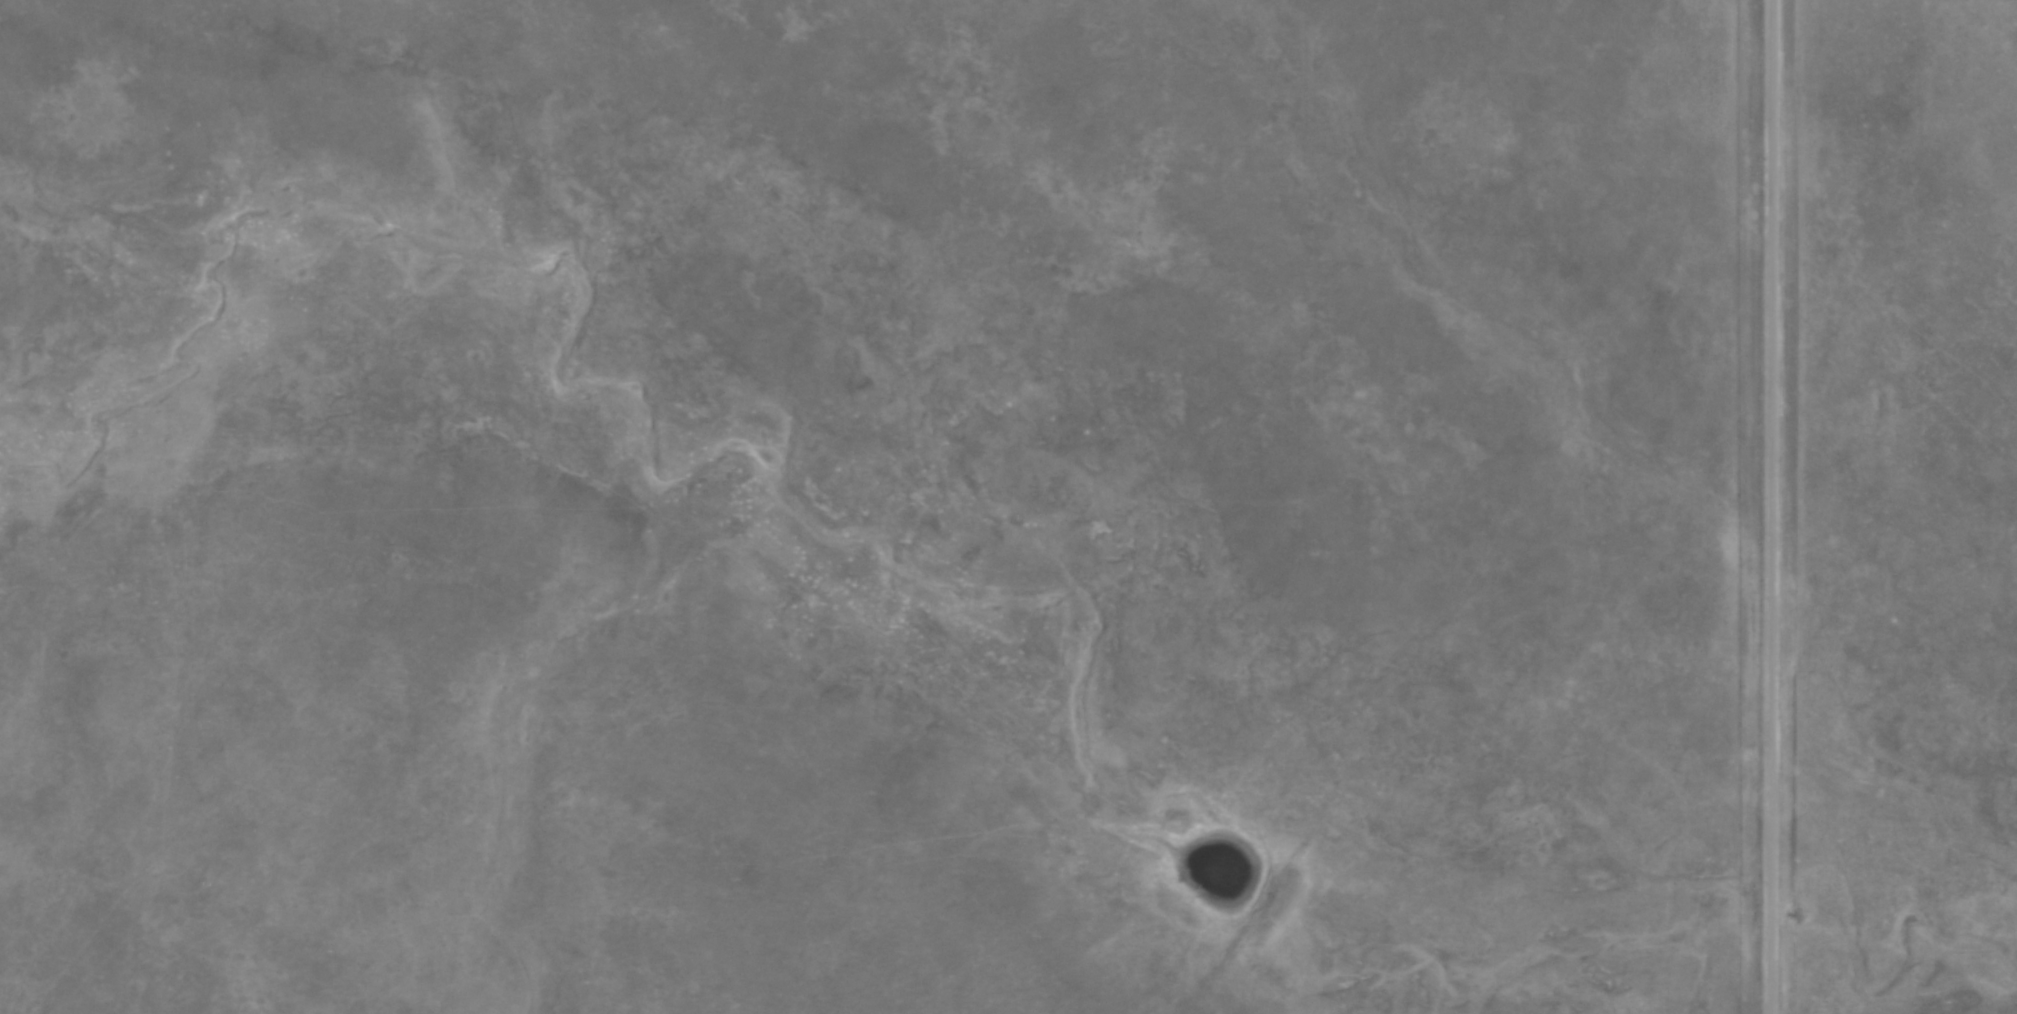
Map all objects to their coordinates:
road: (1765, 507)

